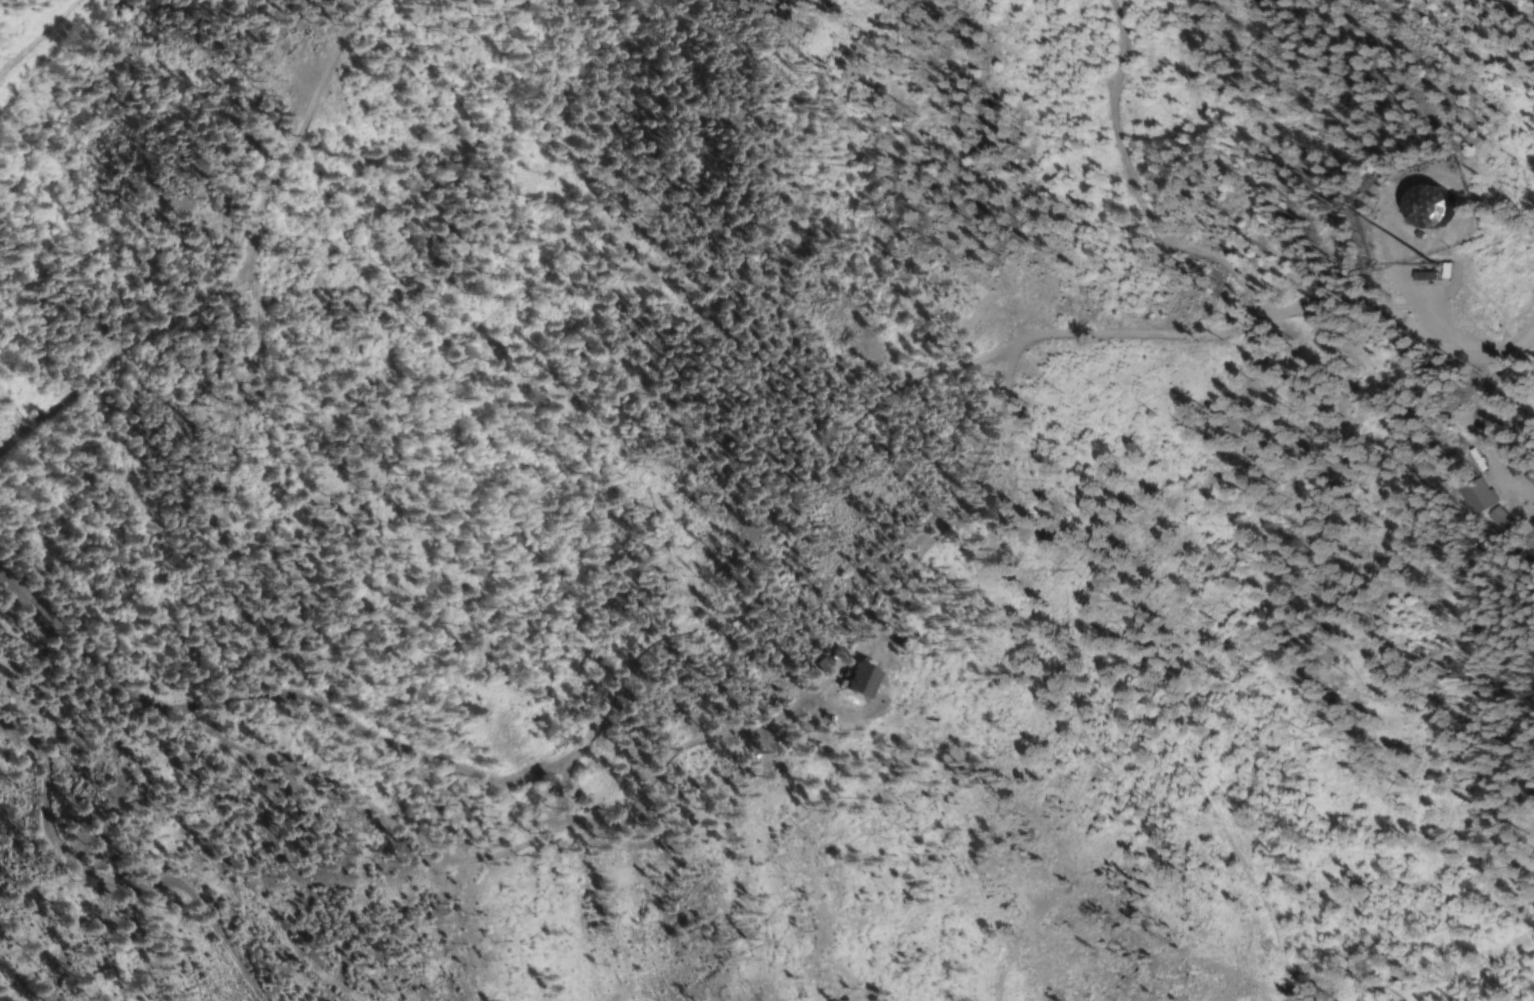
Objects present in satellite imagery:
building: (1449, 205)
road: (1478, 350)

